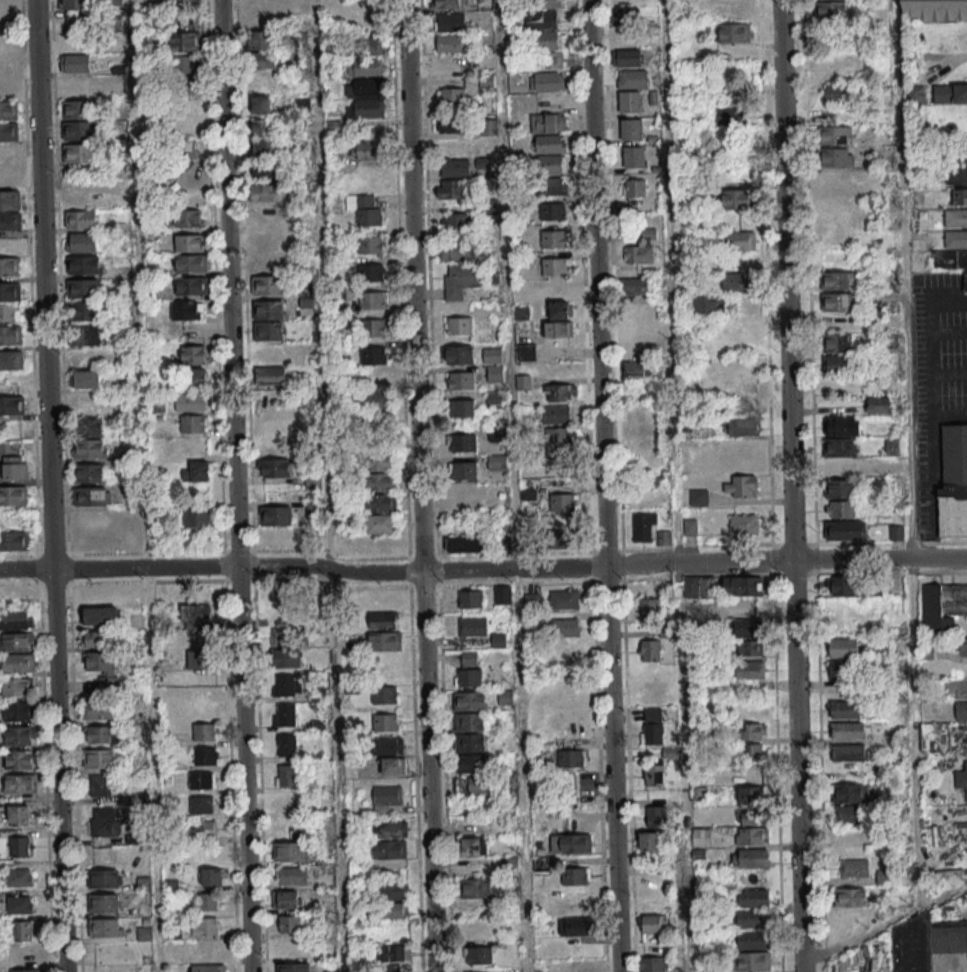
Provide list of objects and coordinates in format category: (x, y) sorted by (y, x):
building: (448, 3)
building: (549, 3)
building: (74, 4)
building: (935, 10)
building: (828, 11)
building: (624, 17)
building: (540, 20)
building: (81, 21)
building: (449, 23)
building: (733, 33)
building: (261, 39)
building: (185, 40)
building: (547, 41)
building: (450, 44)
building: (363, 47)
building: (625, 58)
building: (262, 60)
building: (551, 61)
building: (76, 63)
building: (449, 64)
building: (364, 68)
building: (185, 76)
building: (632, 80)
building: (546, 83)
building: (364, 89)
building: (916, 93)
building: (950, 93)
building: (838, 94)
building: (452, 98)
building: (629, 103)
building: (261, 104)
building: (188, 107)
building: (77, 109)
building: (365, 109)
building: (8, 110)
building: (729, 117)
building: (545, 123)
building: (262, 127)
building: (450, 127)
building: (8, 130)
building: (77, 130)
building: (630, 130)
building: (836, 136)
building: (549, 145)
building: (267, 147)
building: (452, 147)
building: (184, 149)
building: (368, 150)
building: (79, 152)
building: (332, 153)
building: (957, 155)
building: (836, 156)
building: (632, 158)
building: (548, 165)
building: (453, 168)
building: (190, 171)
building: (831, 176)
building: (957, 176)
building: (9, 177)
building: (549, 187)
building: (635, 188)
building: (450, 190)
building: (265, 192)
building: (958, 196)
building: (10, 200)
building: (737, 200)
building: (364, 210)
building: (552, 212)
building: (188, 218)
building: (81, 219)
building: (955, 219)
building: (10, 220)
building: (456, 223)
building: (553, 240)
building: (955, 240)
building: (82, 242)
building: (189, 242)
building: (739, 242)
building: (369, 245)
building: (451, 252)
building: (639, 255)
building: (269, 263)
building: (83, 264)
building: (190, 265)
building: (10, 266)
building: (553, 268)
building: (370, 273)
road: (29, 276)
road: (59, 277)
building: (462, 280)
building: (836, 281)
building: (737, 283)
building: (192, 285)
building: (636, 285)
building: (266, 286)
road: (413, 286)
building: (84, 288)
road: (214, 289)
building: (9, 291)
road: (399, 293)
building: (306, 296)
building: (371, 301)
building: (835, 304)
building: (707, 305)
building: (186, 310)
building: (560, 310)
building: (85, 311)
building: (267, 311)
building: (9, 312)
building: (837, 321)
building: (459, 327)
building: (558, 328)
building: (372, 329)
building: (267, 332)
building: (10, 334)
building: (85, 335)
building: (836, 344)
building: (527, 352)
building: (194, 354)
building: (492, 354)
building: (372, 356)
building: (459, 356)
building: (11, 359)
building: (837, 365)
building: (637, 370)
road: (431, 371)
building: (495, 373)
building: (271, 376)
building: (85, 378)
building: (196, 378)
building: (524, 381)
building: (461, 382)
building: (127, 383)
building: (739, 387)
building: (560, 392)
building: (379, 398)
building: (496, 398)
building: (190, 401)
building: (157, 404)
building: (880, 404)
building: (11, 405)
building: (458, 409)
building: (554, 415)
building: (374, 421)
building: (194, 423)
building: (843, 426)
building: (90, 427)
building: (742, 428)
building: (557, 443)
building: (462, 444)
building: (893, 445)
building: (89, 448)
road: (907, 454)
building: (496, 461)
building: (377, 463)
building: (15, 467)
building: (274, 467)
building: (840, 467)
building: (198, 471)
building: (89, 472)
building: (463, 472)
building: (378, 484)
building: (953, 484)
road: (49, 486)
road: (143, 486)
road: (234, 486)
road: (327, 486)
road: (514, 486)
road: (603, 486)
road: (676, 486)
building: (740, 486)
road: (790, 486)
building: (13, 495)
building: (92, 495)
building: (698, 497)
building: (465, 500)
building: (563, 502)
building: (378, 504)
building: (840, 508)
building: (276, 515)
building: (198, 516)
building: (742, 525)
building: (379, 526)
building: (691, 526)
building: (644, 527)
building: (842, 532)
building: (896, 532)
building: (562, 538)
building: (664, 538)
building: (14, 540)
building: (464, 544)
road: (145, 552)
road: (879, 559)
road: (698, 563)
road: (223, 565)
road: (211, 567)
road: (68, 569)
road: (513, 569)
road: (253, 580)
road: (146, 581)
road: (515, 583)
building: (743, 585)
building: (842, 585)
building: (699, 586)
building: (502, 594)
building: (283, 595)
building: (469, 598)
building: (532, 599)
building: (564, 599)
building: (942, 605)
building: (649, 608)
building: (195, 613)
building: (102, 614)
building: (16, 620)
building: (383, 620)
building: (565, 627)
building: (471, 628)
building: (746, 629)
building: (282, 636)
building: (94, 638)
building: (17, 641)
building: (385, 641)
building: (963, 646)
building: (750, 647)
building: (842, 649)
building: (649, 650)
building: (286, 657)
building: (199, 658)
building: (18, 662)
building: (102, 667)
building: (469, 668)
building: (842, 670)
building: (748, 671)
building: (17, 687)
building: (283, 687)
building: (385, 694)
building: (958, 696)
building: (468, 702)
building: (99, 709)
building: (17, 710)
building: (750, 710)
building: (844, 711)
building: (284, 716)
building: (385, 722)
building: (468, 723)
building: (652, 725)
building: (205, 731)
building: (752, 731)
building: (847, 732)
building: (20, 734)
building: (104, 734)
building: (468, 744)
building: (388, 745)
building: (285, 746)
building: (751, 752)
building: (847, 754)
building: (206, 755)
building: (99, 757)
building: (571, 757)
building: (19, 758)
building: (394, 765)
building: (469, 766)
road: (428, 772)
building: (751, 772)
building: (654, 774)
building: (286, 777)
road: (74, 778)
building: (201, 779)
road: (445, 779)
building: (961, 780)
building: (21, 783)
building: (100, 784)
building: (476, 788)
building: (847, 792)
building: (750, 794)
building: (386, 796)
building: (201, 804)
building: (19, 814)
building: (850, 814)
building: (656, 815)
building: (104, 821)
building: (753, 827)
building: (201, 828)
building: (389, 829)
building: (701, 836)
building: (649, 840)
building: (570, 843)
building: (20, 846)
building: (474, 846)
building: (389, 849)
building: (290, 851)
building: (749, 859)
building: (510, 862)
building: (541, 865)
building: (854, 867)
building: (19, 876)
building: (211, 876)
building: (574, 876)
building: (292, 877)
building: (107, 878)
building: (478, 887)
building: (392, 890)
building: (851, 896)
building: (751, 900)
building: (206, 901)
building: (106, 902)
building: (284, 902)
building: (19, 904)
building: (393, 910)
building: (751, 920)
building: (290, 923)
building: (651, 924)
building: (206, 926)
building: (576, 926)
building: (104, 927)
building: (474, 929)
road: (879, 929)
building: (23, 930)
building: (145, 930)
building: (752, 941)
building: (926, 942)
building: (209, 949)
building: (27, 953)
building: (479, 954)
building: (392, 955)
building: (750, 962)
building: (652, 964)
building: (581, 965)
building: (293, 967)
building: (208, 968)
road: (960, 968)
building: (25, 970)

